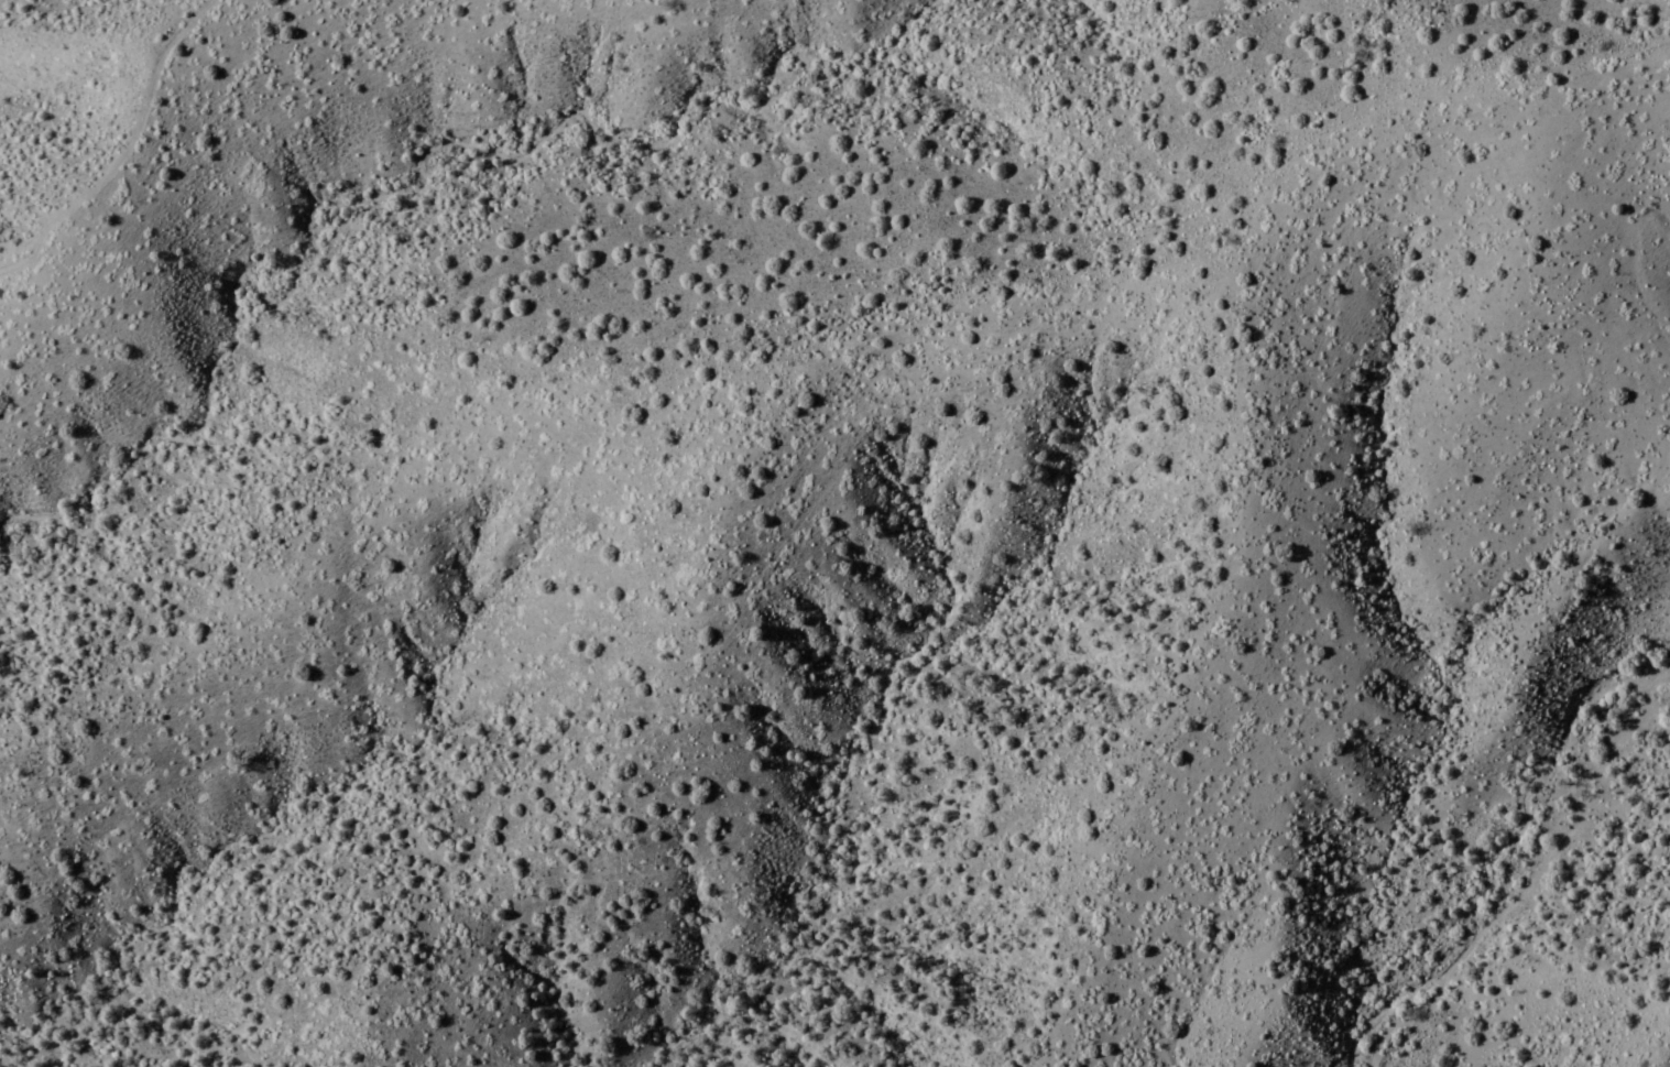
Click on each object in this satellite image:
road: (132, 109)

